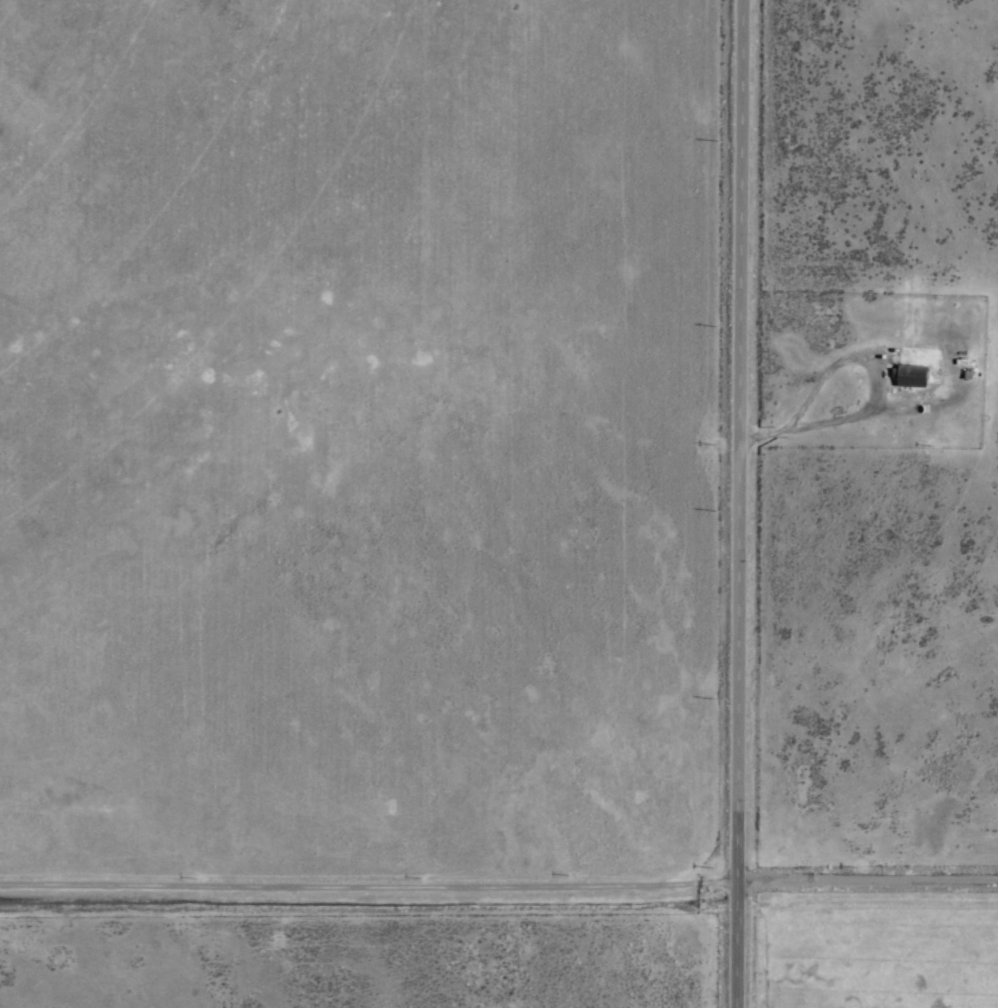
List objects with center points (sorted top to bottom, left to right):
road: (735, 503)
crop: (499, 504)
road: (865, 880)
road: (366, 887)

